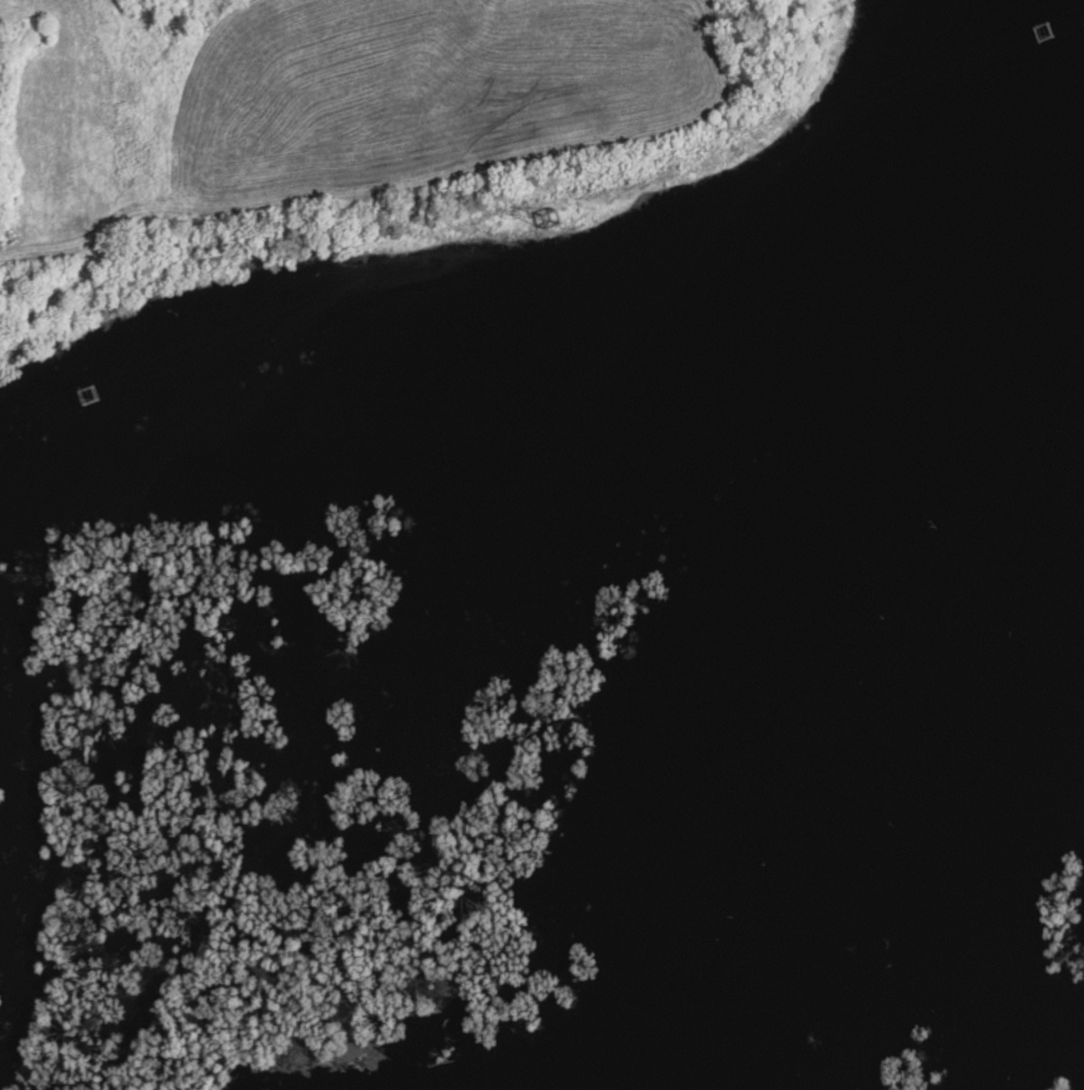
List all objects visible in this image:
power tower: (1046, 27)
power tower: (553, 216)
power tower: (88, 390)

